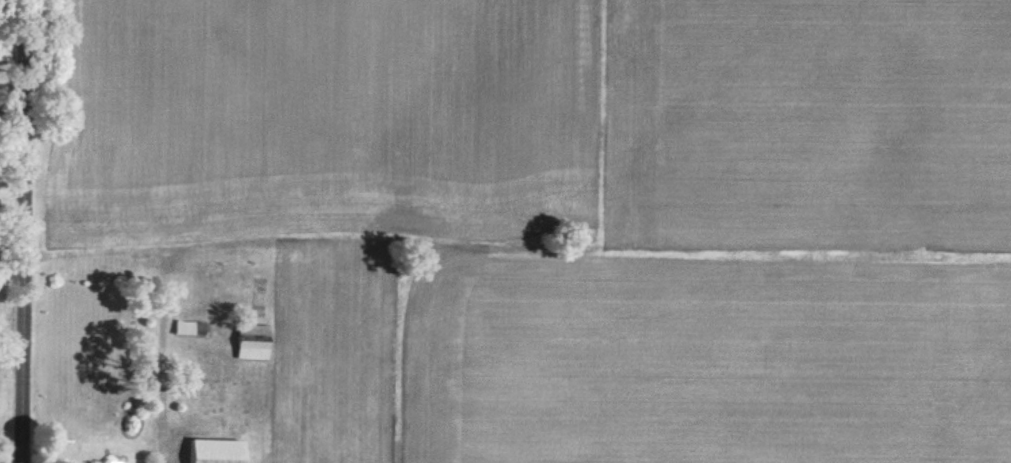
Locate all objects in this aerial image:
road: (25, 231)
building: (185, 326)
building: (253, 348)
building: (220, 450)

